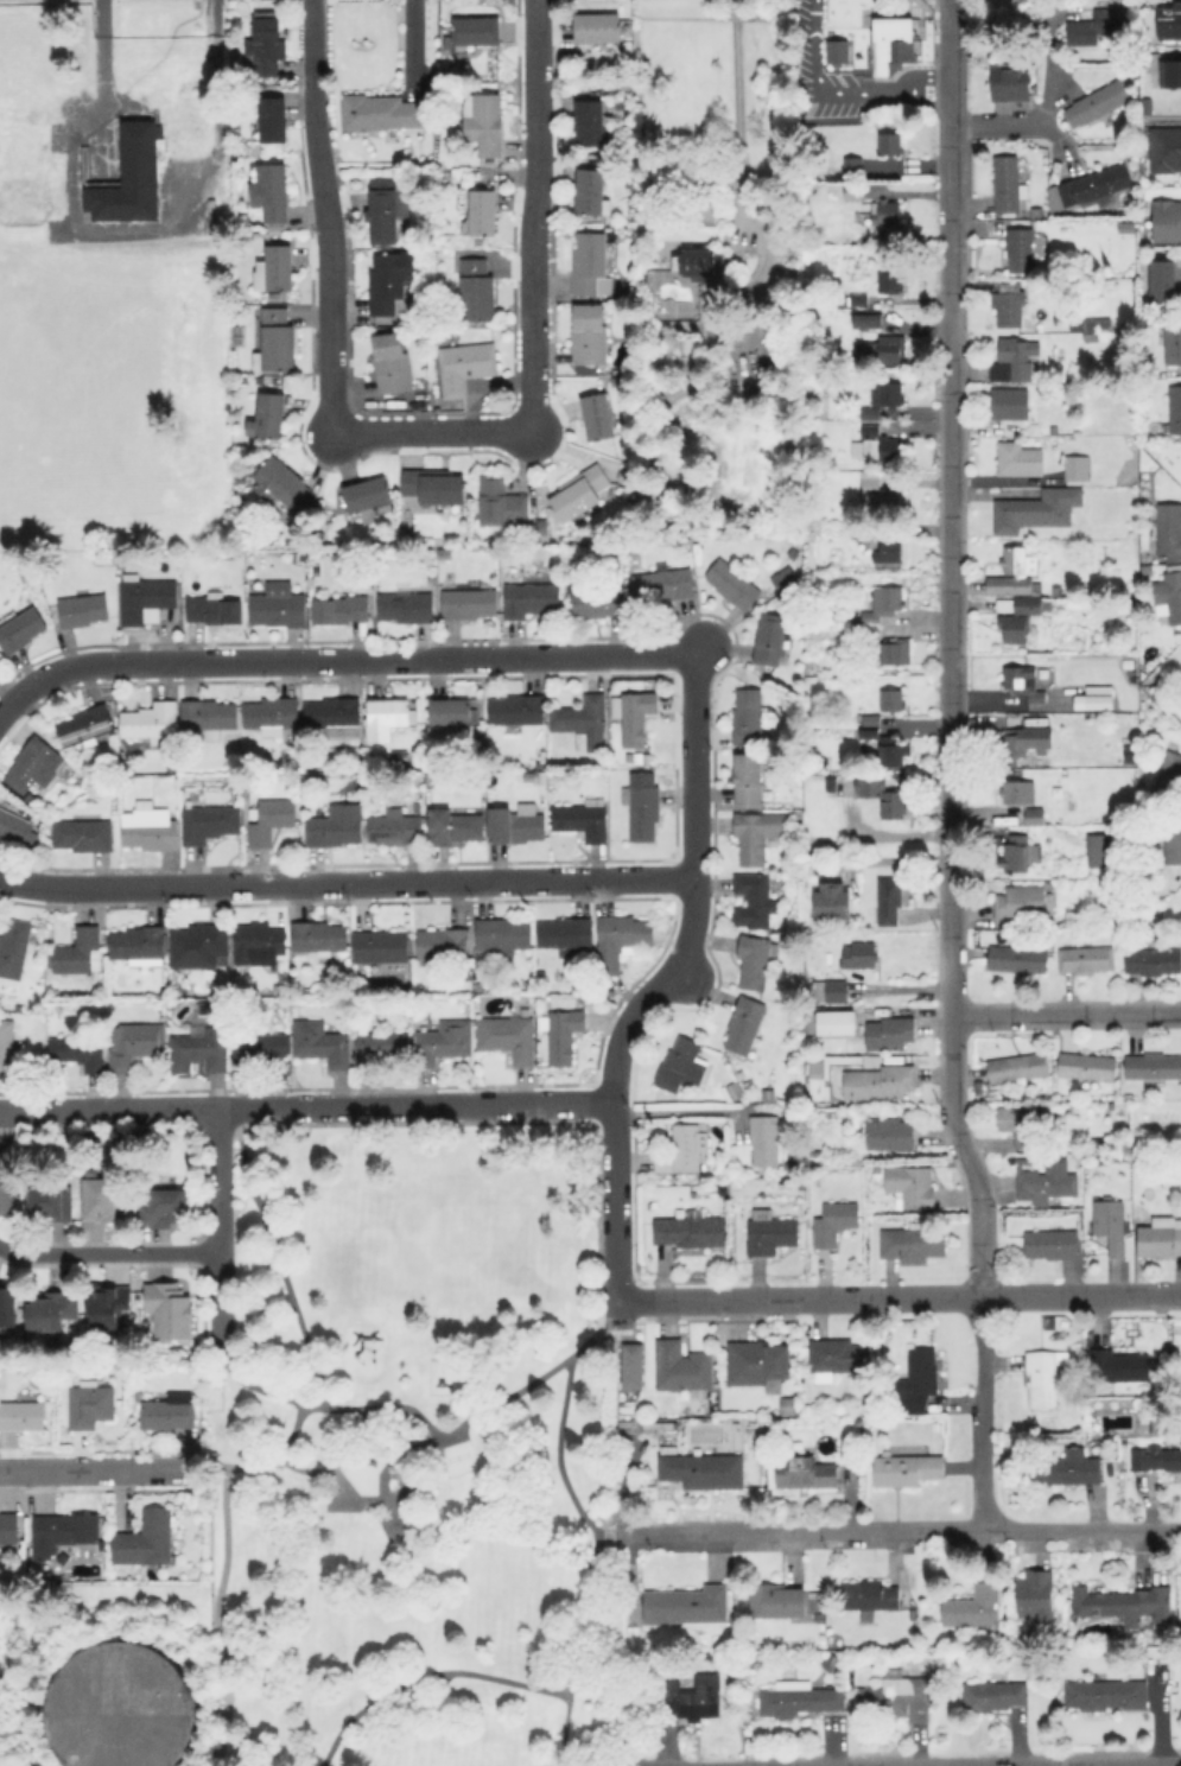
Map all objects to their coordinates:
building: (1167, 20)
building: (1100, 25)
road: (312, 26)
building: (597, 27)
building: (475, 30)
building: (893, 44)
building: (266, 46)
building: (837, 50)
road: (950, 56)
building: (1168, 72)
road: (1048, 74)
road: (95, 77)
building: (1011, 82)
building: (621, 88)
road: (820, 88)
road: (910, 88)
building: (1098, 101)
road: (312, 110)
building: (381, 113)
building: (273, 119)
road: (737, 120)
building: (484, 122)
building: (591, 122)
building: (889, 142)
building: (1163, 148)
building: (850, 164)
building: (141, 166)
road: (950, 173)
building: (1007, 184)
building: (1094, 184)
building: (271, 191)
building: (591, 191)
building: (852, 191)
building: (23, 203)
building: (483, 211)
road: (534, 211)
building: (885, 211)
building: (385, 212)
building: (1166, 221)
building: (1125, 225)
building: (1020, 248)
building: (589, 262)
building: (698, 262)
building: (278, 268)
building: (1158, 279)
building: (389, 280)
building: (889, 281)
building: (476, 290)
road: (328, 298)
building: (855, 299)
building: (1010, 304)
building: (672, 309)
building: (870, 319)
building: (1098, 323)
building: (589, 333)
building: (236, 335)
building: (275, 339)
building: (1170, 339)
building: (691, 344)
building: (885, 350)
building: (1017, 355)
building: (715, 361)
building: (391, 362)
building: (465, 366)
building: (890, 393)
building: (1009, 402)
building: (1078, 408)
building: (1174, 408)
building: (268, 415)
building: (597, 415)
building: (869, 421)
road: (430, 431)
building: (876, 447)
building: (1021, 460)
building: (1073, 469)
building: (1144, 471)
building: (623, 475)
building: (284, 484)
building: (434, 485)
building: (578, 491)
building: (367, 494)
building: (878, 494)
building: (501, 501)
building: (1037, 510)
building: (541, 526)
building: (1169, 529)
building: (869, 531)
building: (887, 551)
building: (121, 557)
building: (1147, 568)
building: (1014, 571)
building: (662, 583)
building: (732, 583)
building: (1056, 590)
building: (1169, 591)
building: (146, 597)
building: (529, 598)
building: (595, 602)
building: (469, 603)
building: (883, 603)
building: (406, 604)
building: (278, 605)
building: (82, 608)
building: (214, 608)
building: (339, 608)
building: (1018, 618)
building: (20, 628)
building: (866, 633)
building: (769, 639)
building: (891, 652)
road: (336, 658)
building: (1128, 665)
building: (1124, 676)
building: (1021, 684)
building: (1052, 693)
building: (891, 699)
building: (1098, 700)
building: (515, 710)
building: (451, 711)
building: (208, 713)
building: (271, 713)
building: (634, 714)
building: (334, 716)
building: (747, 716)
building: (386, 717)
building: (869, 718)
building: (582, 720)
building: (151, 722)
building: (85, 725)
rooftop solar panel: (100, 728)
rooftop solar panel: (335, 731)
rooftop solar panel: (81, 732)
rooftop solar panel: (66, 737)
building: (1014, 739)
building: (230, 741)
building: (881, 745)
building: (400, 757)
building: (33, 764)
building: (1169, 775)
building: (309, 776)
building: (748, 777)
building: (428, 780)
building: (1016, 790)
building: (882, 795)
building: (642, 806)
building: (113, 813)
building: (798, 813)
building: (1033, 815)
building: (271, 819)
building: (582, 819)
building: (209, 821)
building: (453, 825)
building: (514, 825)
building: (150, 826)
building: (17, 827)
building: (332, 830)
building: (395, 830)
building: (84, 832)
building: (756, 833)
building: (1173, 837)
rooftop solar panel: (388, 844)
building: (1016, 850)
building: (1100, 850)
road: (345, 882)
road: (950, 883)
building: (888, 898)
building: (754, 900)
building: (832, 902)
building: (1018, 902)
building: (565, 932)
building: (502, 933)
building: (319, 936)
building: (259, 938)
building: (621, 939)
building: (138, 941)
building: (442, 944)
building: (15, 945)
building: (198, 945)
building: (381, 946)
building: (78, 951)
building: (857, 954)
building: (1017, 958)
building: (1085, 958)
building: (755, 960)
building: (1153, 960)
building: (541, 974)
road: (658, 979)
building: (280, 990)
building: (306, 990)
building: (832, 990)
rooftop solar panel: (202, 1008)
building: (209, 1009)
road: (1066, 1011)
building: (744, 1024)
building: (837, 1024)
building: (561, 1033)
building: (888, 1033)
building: (508, 1037)
building: (320, 1042)
building: (443, 1042)
building: (134, 1043)
building: (379, 1046)
building: (6, 1047)
building: (258, 1047)
building: (78, 1050)
building: (201, 1050)
building: (681, 1065)
building: (1153, 1065)
building: (1086, 1066)
building: (1017, 1067)
building: (815, 1073)
building: (889, 1080)
building: (735, 1088)
road: (306, 1105)
road: (687, 1111)
road: (230, 1119)
building: (1024, 1122)
building: (891, 1133)
building: (764, 1139)
building: (681, 1149)
building: (1045, 1179)
building: (801, 1182)
building: (785, 1183)
building: (910, 1183)
building: (6, 1192)
building: (101, 1202)
building: (52, 1205)
building: (166, 1209)
building: (833, 1221)
building: (1109, 1224)
road: (216, 1227)
building: (690, 1230)
building: (770, 1234)
building: (1160, 1237)
building: (913, 1241)
building: (1050, 1243)
road: (108, 1252)
road: (897, 1295)
building: (7, 1307)
building: (104, 1308)
building: (50, 1311)
building: (170, 1311)
road: (608, 1317)
road: (253, 1329)
building: (837, 1357)
building: (757, 1362)
building: (1118, 1365)
building: (634, 1367)
building: (681, 1367)
building: (1043, 1376)
building: (916, 1380)
road: (515, 1389)
building: (89, 1405)
road: (375, 1406)
building: (170, 1416)
building: (23, 1417)
building: (1162, 1423)
park: (425, 1450)
building: (1155, 1457)
road: (201, 1466)
building: (1066, 1468)
road: (89, 1469)
building: (703, 1469)
building: (906, 1469)
building: (805, 1472)
road: (590, 1523)
road: (901, 1527)
road: (608, 1529)
building: (9, 1531)
building: (64, 1535)
building: (146, 1539)
road: (443, 1558)
building: (1180, 1590)
building: (869, 1596)
building: (1036, 1596)
building: (775, 1600)
building: (1123, 1606)
building: (687, 1607)
building: (971, 1607)
road: (216, 1616)
rooftop solar panel: (889, 1673)
road: (538, 1688)
building: (1105, 1694)
building: (895, 1695)
building: (995, 1695)
building: (694, 1700)
building: (800, 1700)
road: (366, 1704)
building: (119, 1707)
water tower: (122, 1710)
road: (1157, 1715)
building: (4, 1751)
road: (995, 1762)

